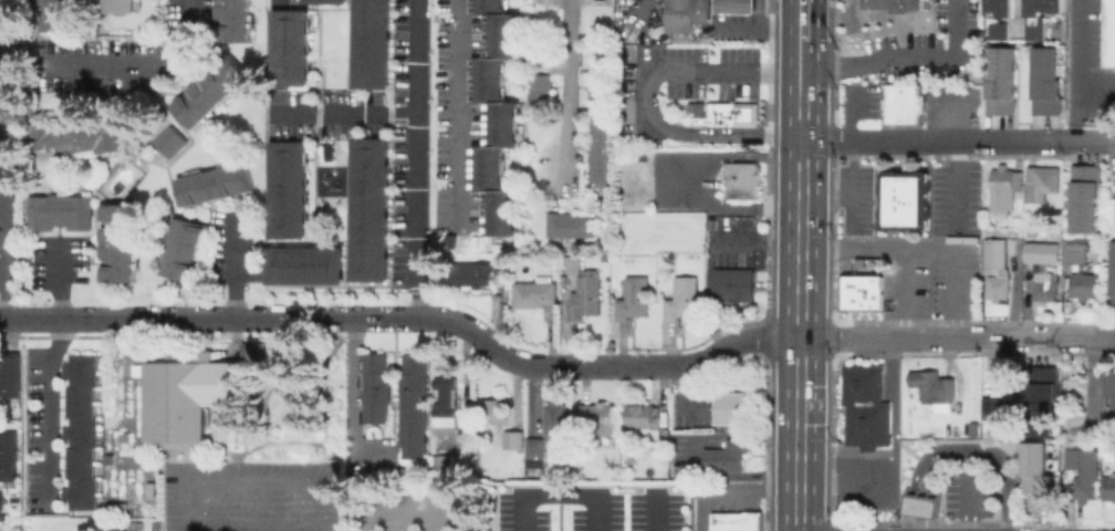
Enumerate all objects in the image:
building: (323, 1)
building: (894, 4)
building: (1042, 4)
building: (123, 6)
building: (737, 6)
building: (990, 6)
building: (1053, 6)
building: (1002, 8)
building: (1030, 8)
building: (48, 14)
building: (688, 14)
building: (231, 20)
building: (1031, 29)
road: (802, 30)
building: (996, 30)
building: (1111, 32)
building: (371, 43)
building: (289, 46)
road: (1077, 48)
road: (139, 54)
road: (899, 54)
road: (695, 67)
road: (802, 74)
building: (4, 79)
building: (1048, 82)
building: (1003, 83)
building: (536, 85)
building: (597, 86)
building: (208, 90)
road: (565, 91)
building: (905, 102)
road: (456, 103)
building: (736, 113)
building: (497, 116)
road: (725, 132)
building: (69, 134)
road: (414, 135)
building: (168, 140)
road: (958, 142)
building: (598, 152)
building: (743, 179)
building: (1004, 179)
road: (851, 180)
road: (956, 183)
building: (212, 184)
building: (1043, 184)
building: (286, 189)
building: (907, 199)
building: (1086, 199)
building: (368, 208)
building: (58, 211)
building: (1111, 212)
building: (569, 223)
building: (116, 242)
road: (897, 246)
building: (183, 249)
building: (1043, 251)
building: (1077, 253)
building: (994, 254)
building: (574, 263)
building: (303, 264)
road: (229, 265)
road: (949, 269)
building: (471, 275)
building: (1114, 275)
road: (60, 282)
building: (734, 283)
building: (1084, 287)
building: (1000, 289)
building: (1045, 289)
building: (862, 291)
building: (586, 295)
building: (538, 296)
building: (635, 298)
building: (684, 299)
road: (800, 310)
road: (11, 317)
road: (197, 317)
road: (1049, 336)
road: (852, 337)
road: (944, 337)
road: (492, 346)
road: (722, 346)
building: (249, 351)
road: (633, 367)
building: (9, 375)
building: (1109, 382)
building: (373, 386)
building: (935, 386)
building: (999, 396)
building: (1044, 398)
building: (183, 399)
building: (1114, 403)
building: (410, 405)
road: (48, 406)
building: (446, 406)
building: (866, 406)
building: (734, 409)
building: (497, 412)
building: (556, 418)
building: (598, 418)
building: (647, 418)
building: (218, 425)
building: (82, 430)
building: (513, 439)
building: (535, 447)
road: (959, 449)
building: (7, 455)
building: (728, 456)
building: (441, 464)
building: (1039, 478)
road: (254, 482)
building: (1085, 487)
building: (1108, 487)
road: (551, 497)
building: (0, 501)
building: (921, 506)
road: (655, 513)
road: (414, 519)
building: (738, 521)

